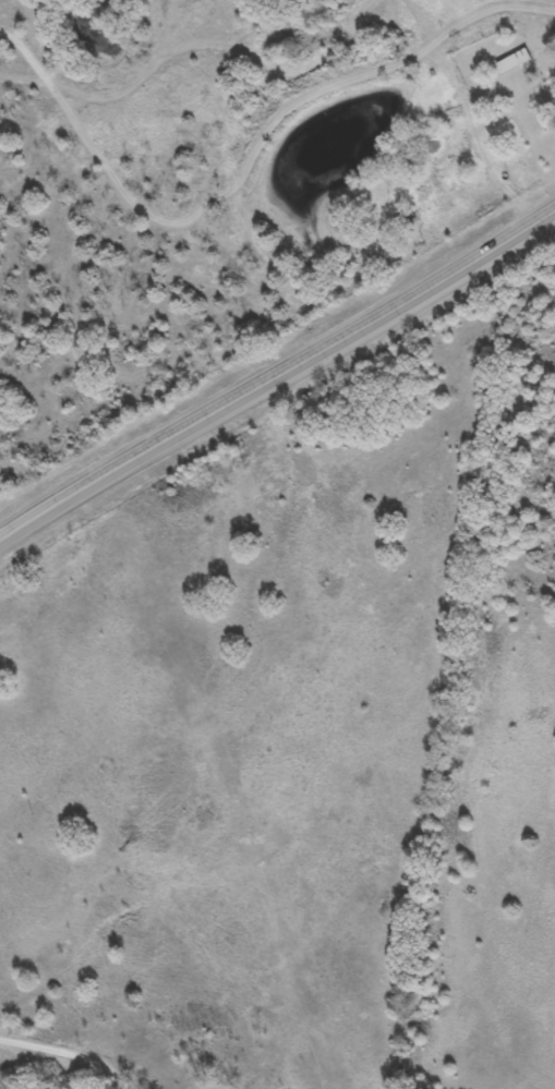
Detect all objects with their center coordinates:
building: (512, 61)
road: (277, 377)
road: (82, 1041)

